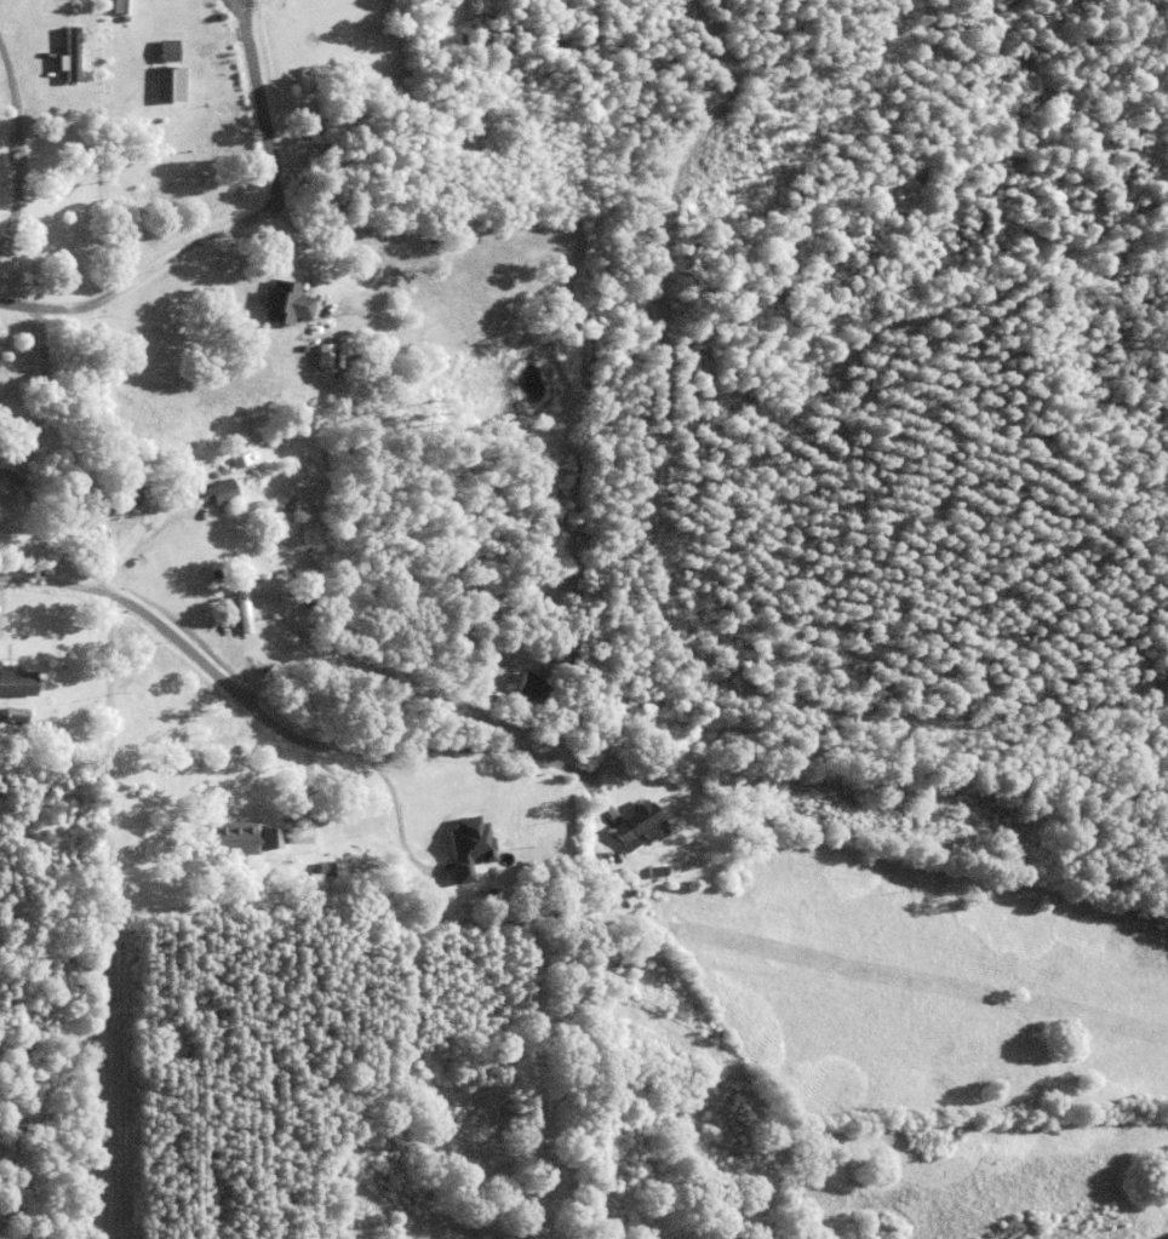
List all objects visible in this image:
building: (167, 50)
building: (70, 53)
building: (171, 81)
building: (331, 124)
building: (332, 205)
building: (285, 300)
building: (254, 348)
building: (303, 348)
building: (322, 352)
building: (10, 383)
building: (10, 429)
building: (240, 459)
building: (218, 491)
building: (128, 495)
building: (248, 556)
building: (242, 607)
building: (17, 679)
building: (537, 684)
building: (16, 716)
building: (13, 735)
road: (366, 785)
building: (640, 825)
building: (240, 837)
building: (468, 847)
building: (1100, 856)
building: (368, 866)
building: (326, 870)
building: (626, 890)
building: (533, 935)
building: (624, 956)
building: (608, 1034)

